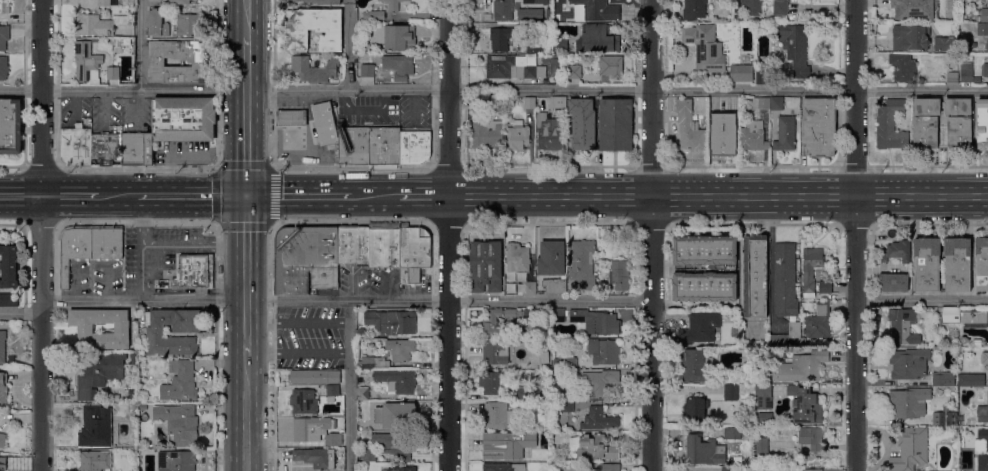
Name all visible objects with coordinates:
building: (154, 0)
road: (350, 1)
building: (531, 1)
building: (788, 1)
building: (179, 2)
building: (318, 2)
building: (541, 2)
building: (108, 3)
building: (392, 4)
building: (4, 6)
building: (747, 7)
building: (780, 8)
building: (694, 9)
building: (914, 9)
building: (503, 10)
building: (595, 10)
building: (529, 14)
building: (374, 15)
building: (983, 16)
road: (246, 19)
building: (888, 19)
building: (156, 24)
building: (188, 24)
building: (92, 26)
building: (545, 26)
building: (314, 29)
building: (982, 29)
building: (4, 37)
building: (396, 37)
building: (910, 37)
building: (502, 38)
building: (597, 39)
building: (128, 43)
building: (941, 44)
road: (141, 45)
building: (559, 45)
road: (350, 46)
building: (365, 46)
building: (534, 46)
building: (986, 46)
building: (83, 48)
building: (705, 48)
building: (795, 48)
building: (197, 62)
building: (399, 66)
building: (610, 66)
building: (512, 67)
building: (902, 67)
building: (3, 68)
building: (88, 68)
building: (313, 70)
building: (984, 70)
building: (367, 71)
building: (573, 72)
building: (112, 73)
building: (740, 73)
building: (966, 73)
building: (952, 78)
road: (493, 90)
building: (529, 103)
building: (557, 103)
building: (761, 103)
building: (776, 104)
road: (247, 116)
building: (291, 118)
building: (183, 119)
building: (87, 121)
building: (324, 123)
building: (582, 124)
building: (615, 124)
building: (982, 125)
building: (10, 126)
building: (721, 126)
building: (890, 126)
building: (689, 127)
building: (818, 127)
building: (925, 132)
building: (488, 134)
building: (548, 134)
building: (785, 134)
building: (517, 136)
building: (753, 136)
building: (75, 146)
building: (353, 146)
building: (384, 146)
building: (415, 147)
building: (106, 149)
building: (137, 149)
road: (188, 154)
road: (635, 157)
road: (217, 163)
road: (272, 166)
road: (277, 166)
road: (650, 166)
road: (751, 166)
road: (854, 166)
road: (928, 166)
road: (190, 195)
traffic signals: (246, 195)
road: (302, 195)
road: (421, 195)
road: (489, 195)
road: (981, 195)
road: (21, 196)
road: (70, 196)
road: (116, 196)
road: (377, 196)
road: (550, 196)
road: (610, 196)
road: (694, 196)
road: (752, 196)
road: (811, 196)
road: (897, 196)
road: (957, 196)
road: (141, 220)
road: (353, 221)
road: (136, 222)
road: (39, 224)
road: (447, 224)
road: (548, 224)
road: (650, 224)
road: (753, 224)
road: (855, 224)
road: (929, 224)
road: (12, 225)
road: (42, 235)
road: (448, 235)
road: (652, 235)
road: (855, 235)
building: (107, 242)
road: (193, 245)
building: (353, 245)
building: (384, 245)
building: (74, 248)
building: (704, 250)
building: (897, 252)
building: (414, 253)
building: (517, 257)
building: (551, 258)
building: (305, 259)
building: (927, 264)
building: (957, 264)
building: (981, 264)
building: (8, 265)
building: (582, 266)
building: (485, 267)
building: (811, 269)
building: (192, 272)
road: (141, 273)
road: (246, 276)
building: (618, 276)
building: (755, 276)
building: (785, 280)
building: (894, 282)
building: (554, 285)
building: (705, 286)
building: (823, 287)
building: (529, 288)
building: (507, 291)
building: (9, 300)
road: (921, 300)
road: (347, 301)
building: (804, 306)
road: (20, 313)
building: (534, 315)
building: (559, 315)
building: (964, 315)
building: (391, 322)
building: (596, 322)
building: (819, 322)
building: (490, 324)
building: (902, 327)
building: (701, 328)
building: (121, 330)
building: (794, 330)
building: (361, 333)
building: (155, 335)
building: (803, 342)
building: (977, 343)
road: (273, 346)
building: (2, 347)
building: (400, 349)
building: (604, 351)
building: (494, 352)
building: (984, 358)
building: (569, 362)
building: (374, 363)
building: (909, 364)
building: (696, 366)
building: (803, 367)
building: (99, 375)
building: (314, 377)
building: (943, 379)
building: (971, 380)
building: (180, 381)
building: (397, 381)
building: (361, 382)
building: (598, 382)
building: (492, 383)
road: (349, 386)
building: (3, 390)
building: (730, 392)
building: (332, 394)
building: (363, 394)
building: (522, 394)
building: (764, 396)
building: (304, 402)
building: (909, 403)
building: (556, 405)
building: (566, 406)
building: (807, 407)
building: (695, 408)
building: (982, 411)
road: (246, 414)
building: (399, 415)
building: (497, 416)
building: (939, 418)
building: (597, 420)
building: (758, 421)
building: (182, 425)
building: (362, 425)
building: (94, 429)
building: (315, 431)
building: (732, 433)
building: (811, 438)
building: (2, 440)
building: (394, 445)
building: (500, 445)
building: (761, 446)
building: (596, 448)
building: (910, 449)
building: (704, 451)
building: (369, 455)
building: (316, 457)
building: (176, 460)
building: (90, 461)
building: (984, 461)
building: (3, 464)
building: (503, 467)
building: (608, 467)
building: (403, 469)
building: (727, 469)
building: (813, 469)

